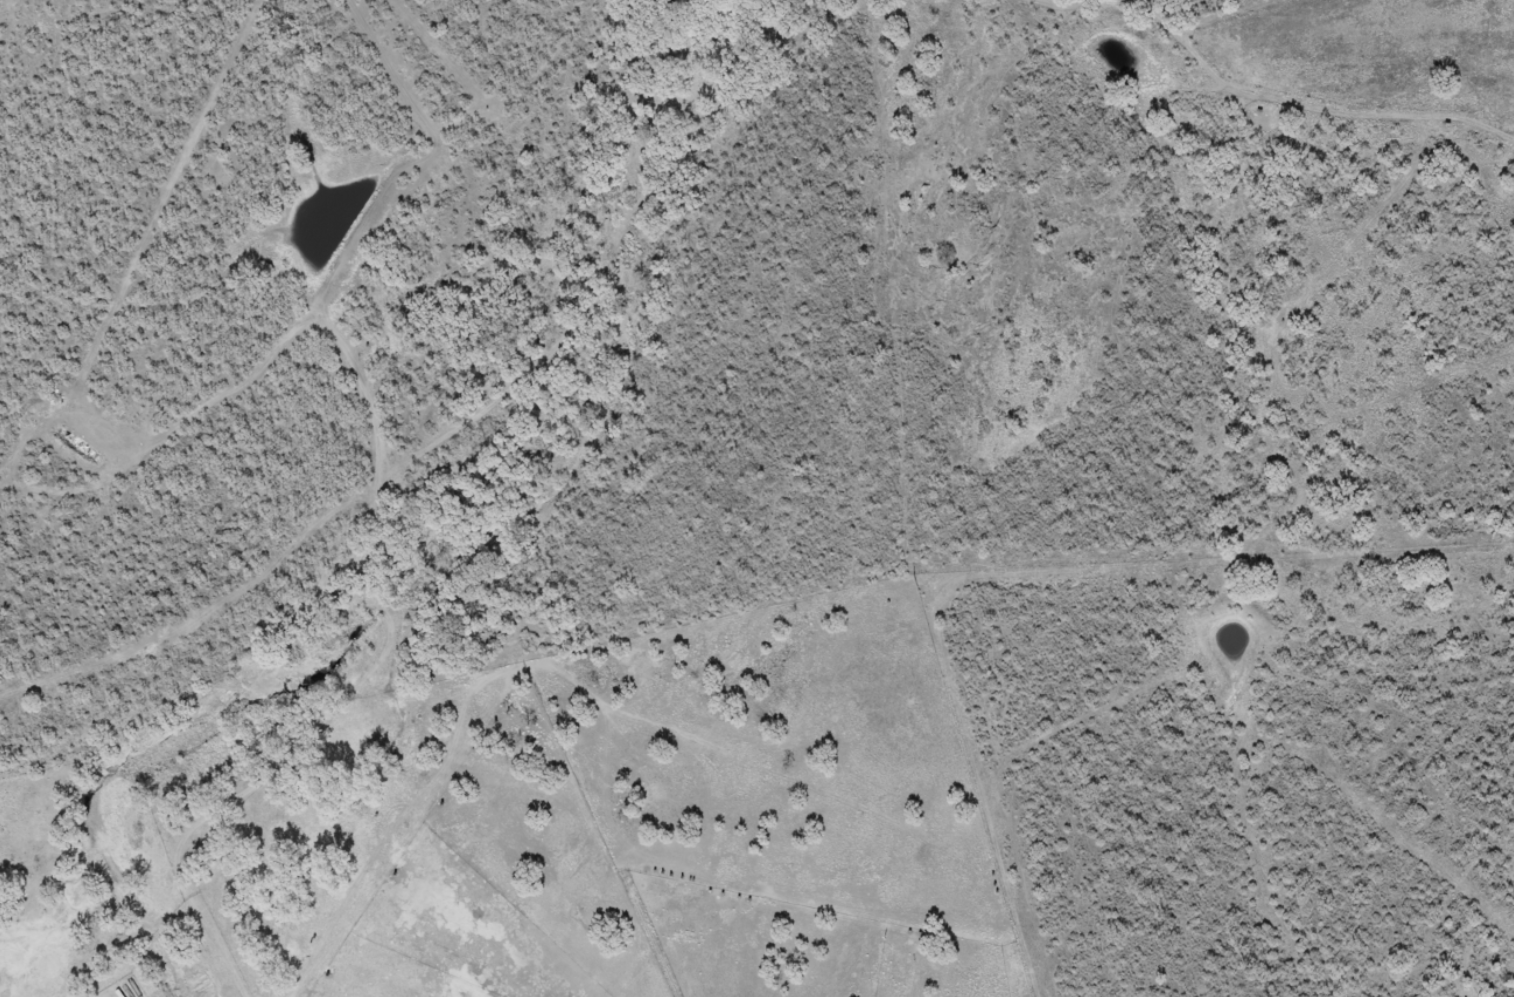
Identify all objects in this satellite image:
road: (621, 236)

